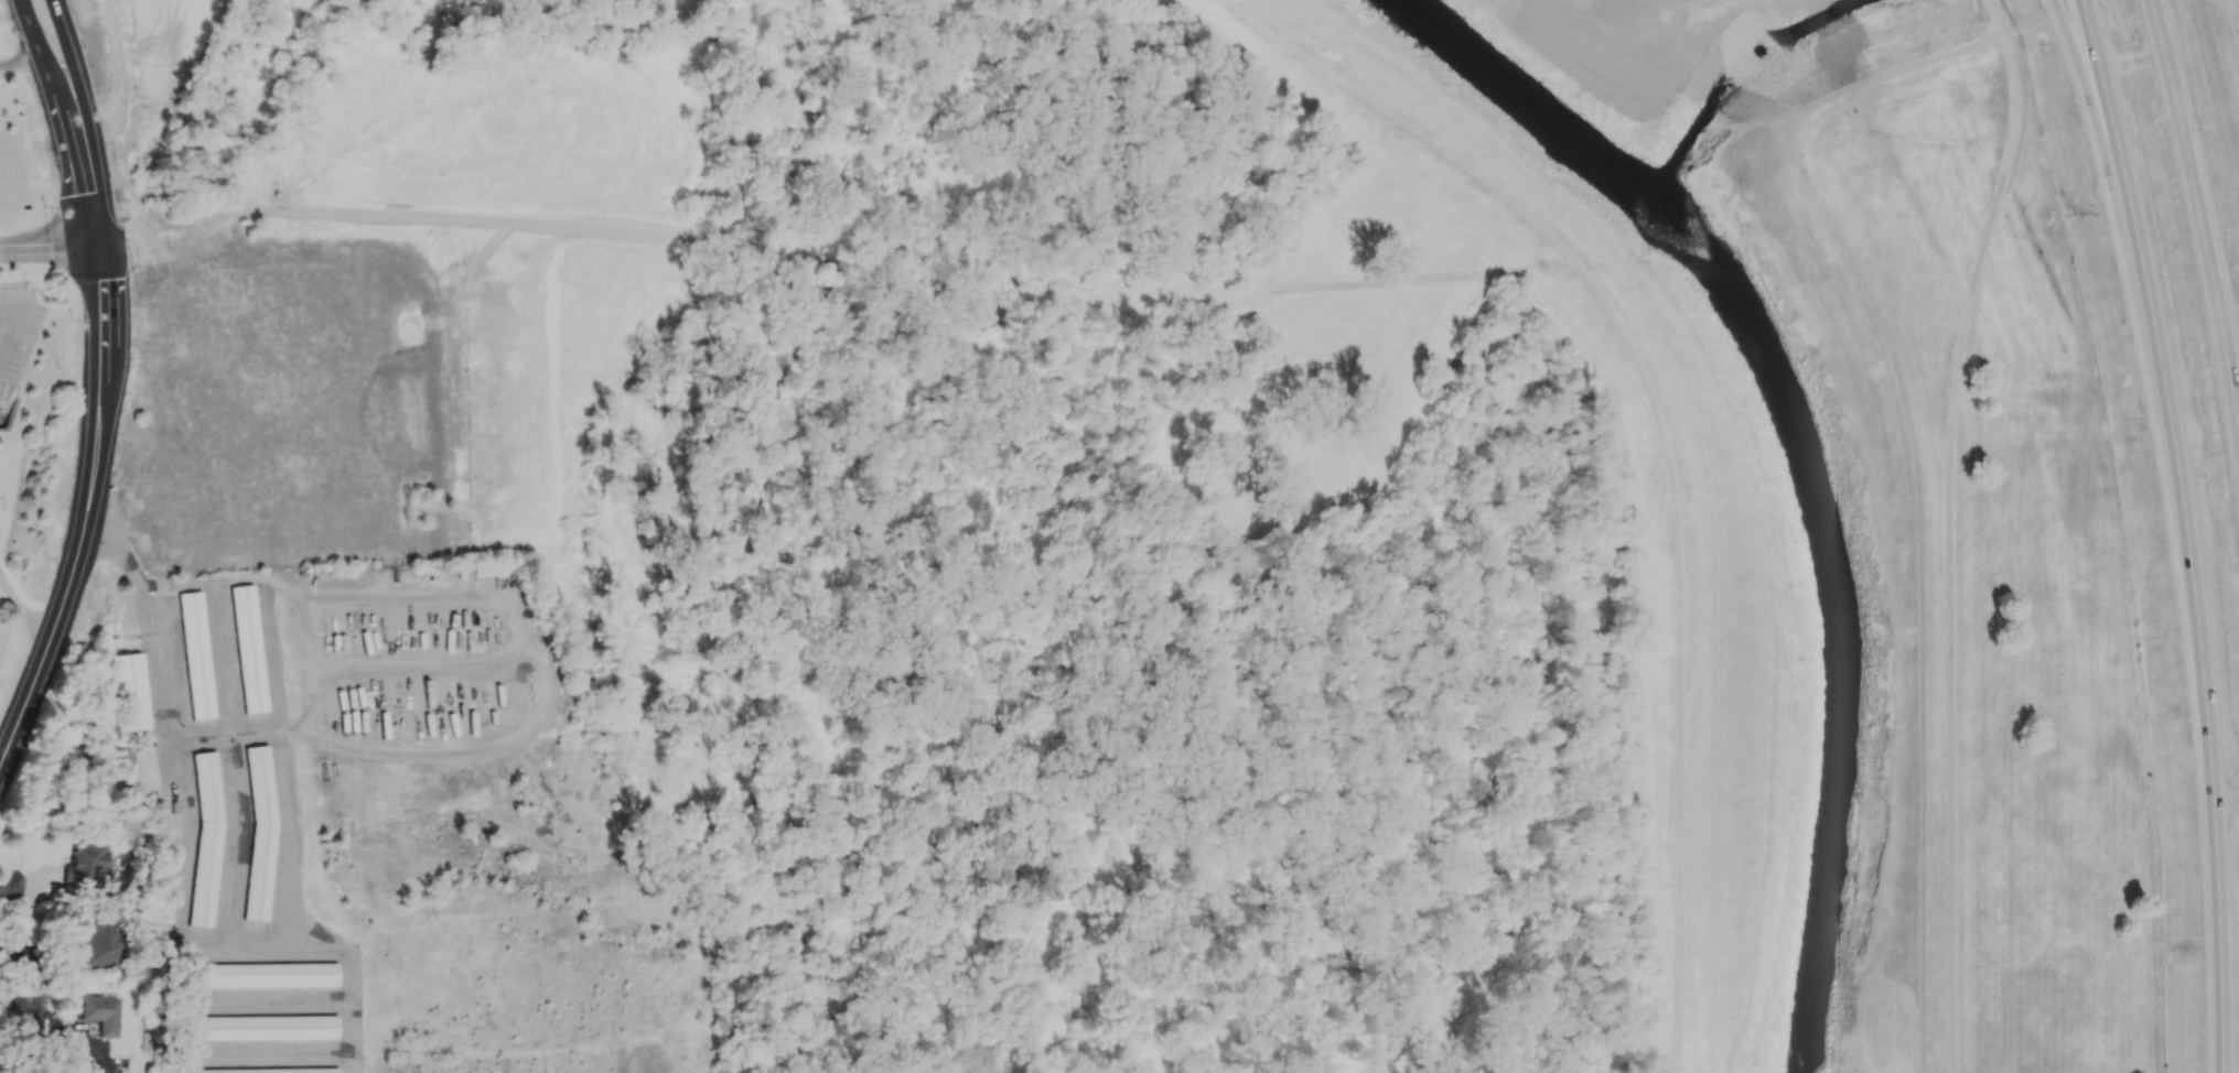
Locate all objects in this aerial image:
road: (1683, 7)
road: (665, 21)
road: (30, 28)
road: (24, 50)
road: (2080, 62)
road: (2129, 65)
road: (115, 74)
river: (1525, 101)
road: (348, 118)
road: (85, 121)
road: (1203, 144)
road: (68, 151)
road: (2200, 212)
road: (207, 220)
road: (572, 225)
road: (73, 248)
traffic signals: (96, 248)
road: (1552, 252)
road: (1568, 265)
road: (1475, 278)
road: (1368, 288)
road: (1046, 289)
road: (1310, 290)
road: (1253, 295)
road: (1357, 303)
road: (1379, 303)
road: (100, 307)
road: (9, 313)
road: (9, 334)
parking lot: (15, 335)
road: (1660, 437)
road: (1912, 452)
road: (1950, 529)
road: (2186, 531)
road: (1058, 555)
road: (71, 570)
road: (765, 581)
river: (1845, 606)
road: (22, 610)
building: (247, 648)
building: (195, 654)
road: (153, 680)
building: (130, 692)
road: (1420, 749)
building: (123, 774)
road: (2228, 805)
building: (259, 834)
building: (206, 838)
building: (83, 864)
building: (99, 945)
road: (960, 956)
building: (258, 974)
building: (3, 1002)
building: (99, 1012)
building: (257, 1026)
road: (66, 1032)
building: (261, 1070)

